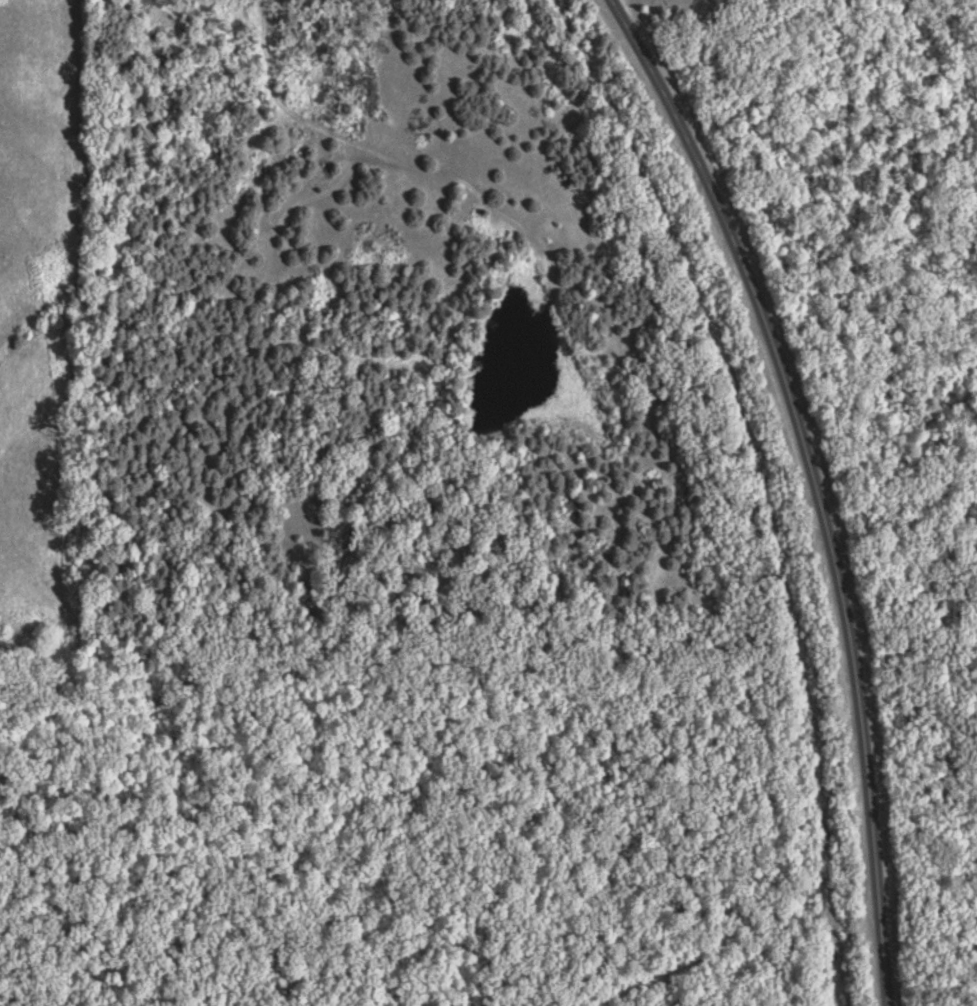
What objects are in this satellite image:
road: (818, 484)

